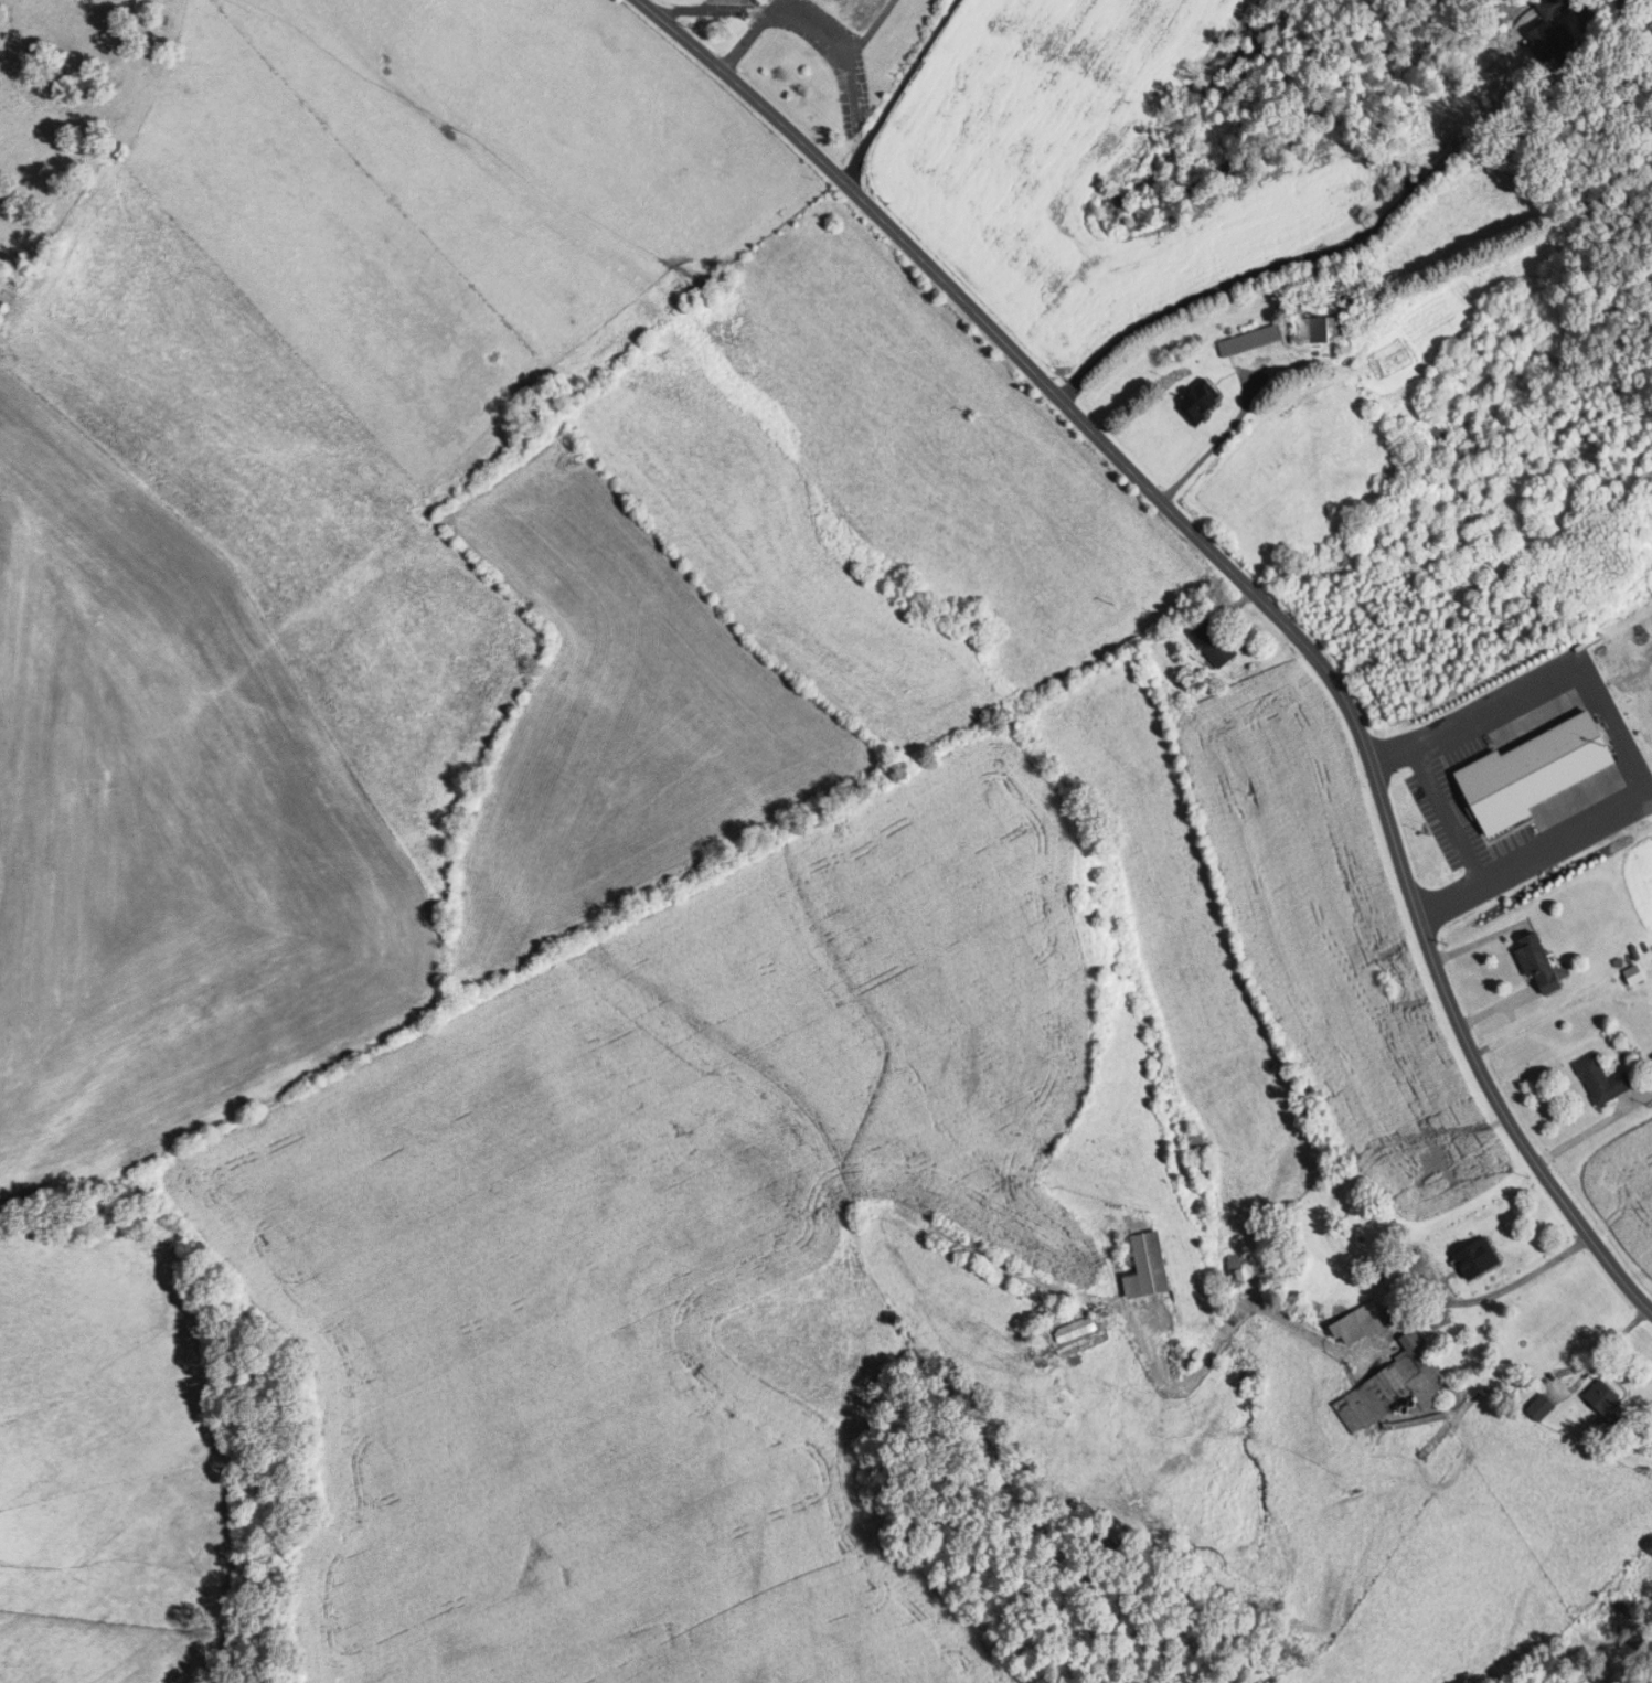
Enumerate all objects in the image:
road: (809, 23)
building: (1559, 31)
road: (897, 90)
road: (1305, 257)
building: (726, 281)
building: (1258, 343)
building: (1208, 405)
road: (1216, 441)
road: (1166, 501)
building: (1217, 642)
road: (1618, 742)
road: (1445, 812)
building: (1546, 962)
building: (1607, 1080)
building: (1202, 1155)
road: (1575, 1219)
building: (1484, 1260)
building: (1236, 1272)
building: (1154, 1288)
building: (1059, 1313)
building: (1364, 1324)
building: (1077, 1330)
building: (1395, 1388)
building: (1612, 1402)
building: (1546, 1407)
road: (1590, 1644)
building: (1562, 1682)

